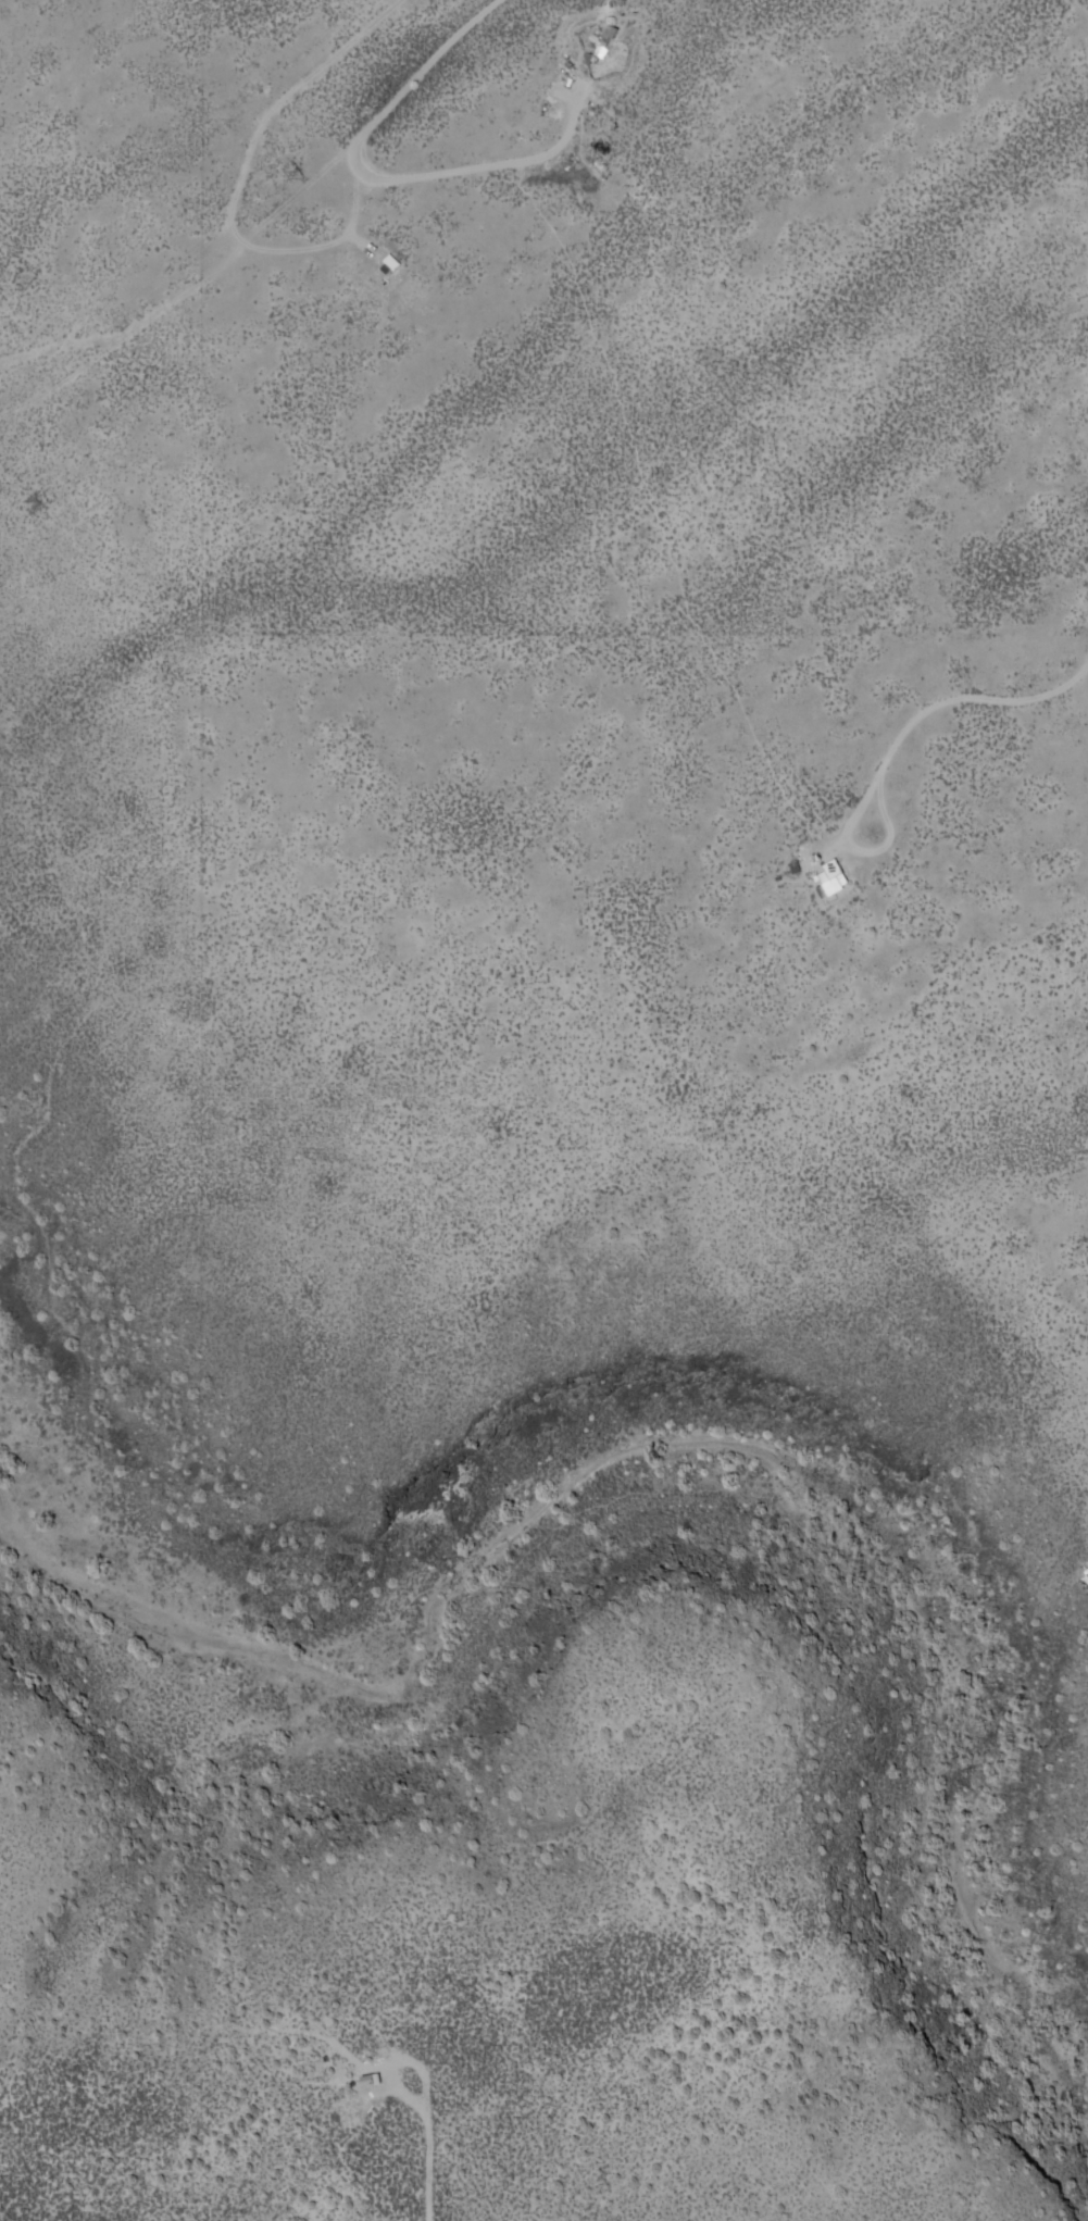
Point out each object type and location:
power tower: (312, 174)
building: (388, 262)

